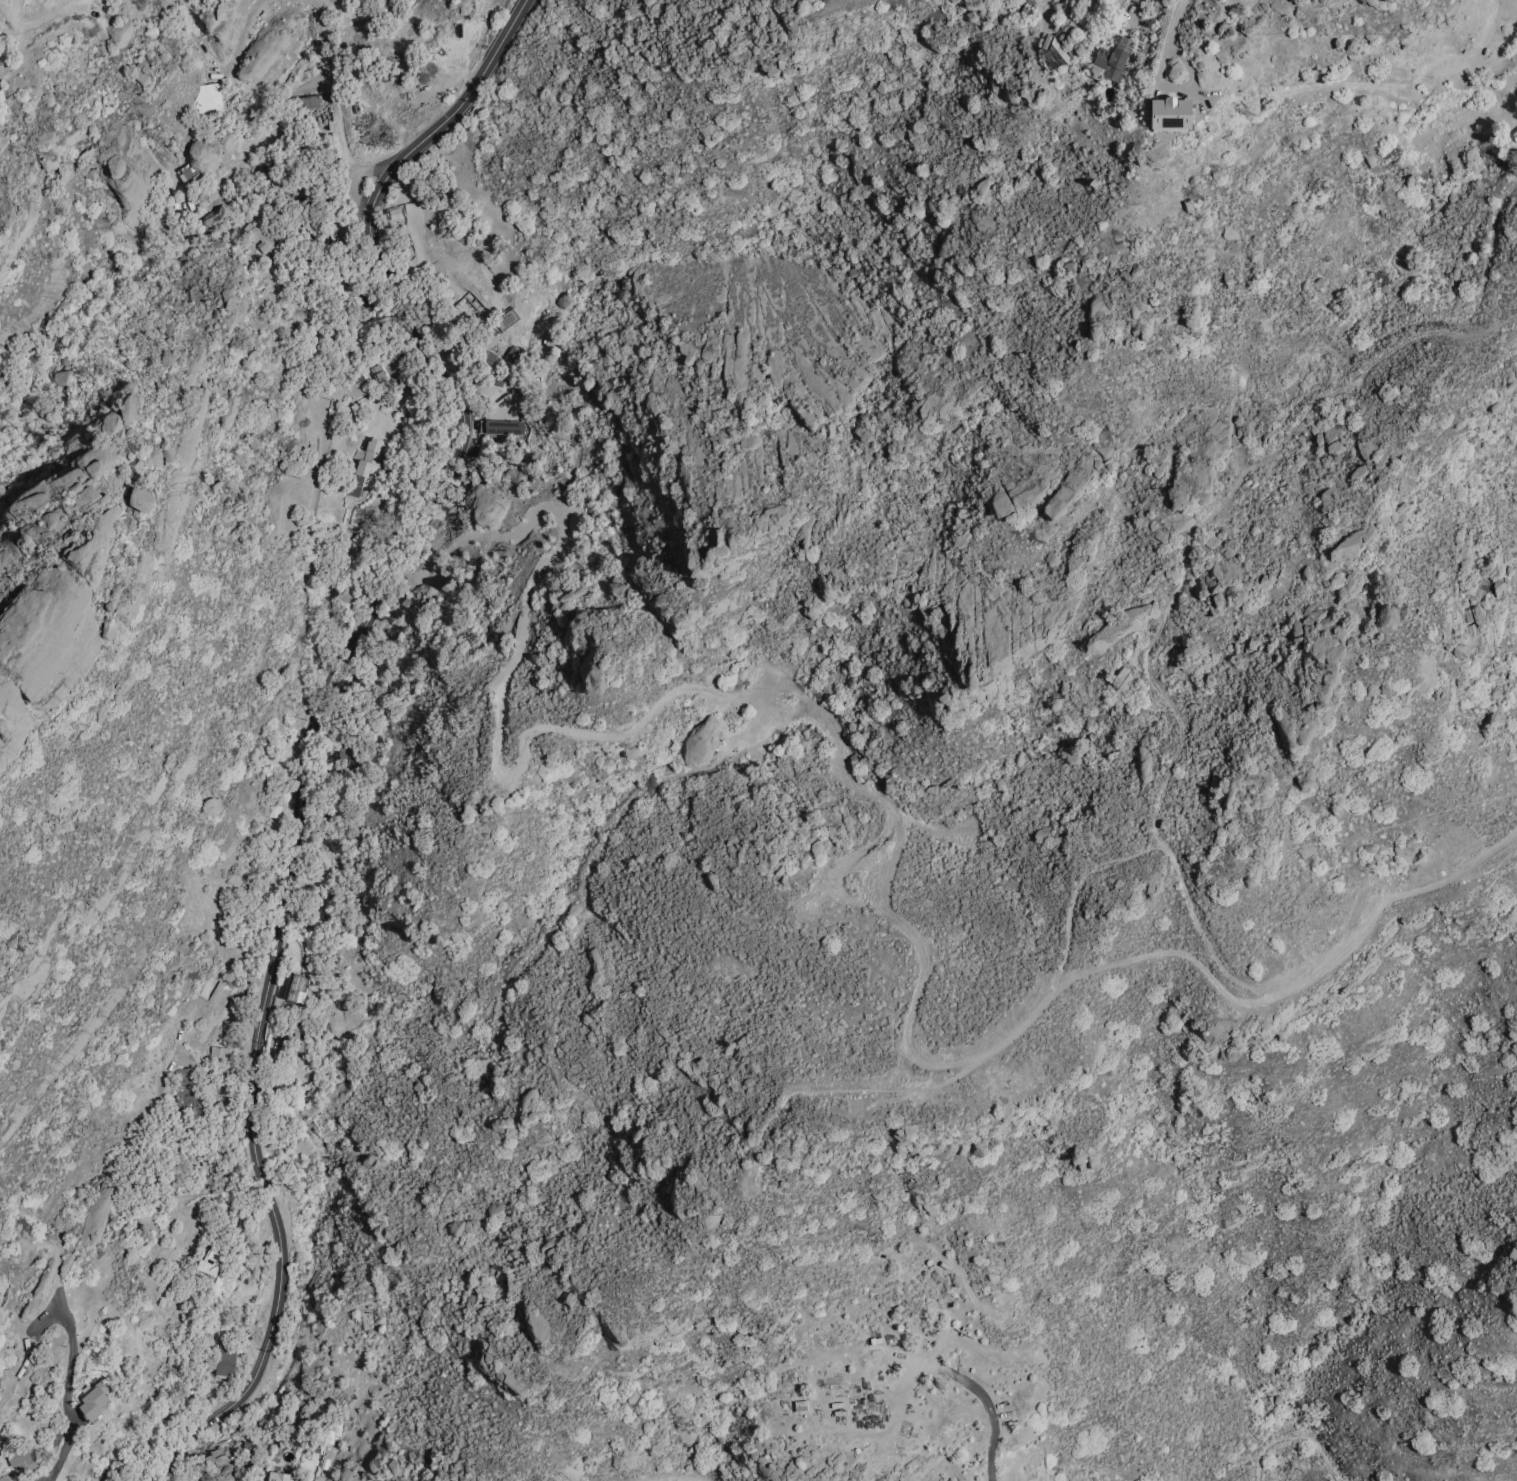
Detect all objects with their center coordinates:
road: (1172, 23)
road: (244, 31)
building: (1113, 57)
building: (1174, 69)
building: (144, 73)
building: (207, 98)
building: (310, 100)
building: (1170, 112)
road: (335, 114)
road: (366, 170)
building: (1294, 210)
building: (259, 238)
building: (225, 292)
building: (1190, 309)
building: (508, 352)
building: (375, 372)
building: (501, 426)
building: (292, 448)
building: (366, 461)
building: (94, 469)
building: (88, 496)
building: (140, 497)
building: (570, 591)
building: (1385, 617)
building: (1177, 661)
building: (1117, 676)
road: (318, 723)
building: (352, 756)
building: (210, 805)
building: (272, 810)
building: (292, 948)
building: (295, 987)
building: (299, 1036)
building: (218, 1052)
building: (186, 1092)
building: (98, 1207)
building: (209, 1261)
building: (225, 1359)
road: (70, 1399)
road: (990, 1399)
building: (94, 1400)
road: (1297, 1439)
road: (327, 1453)
building: (23, 1457)
building: (277, 1476)

